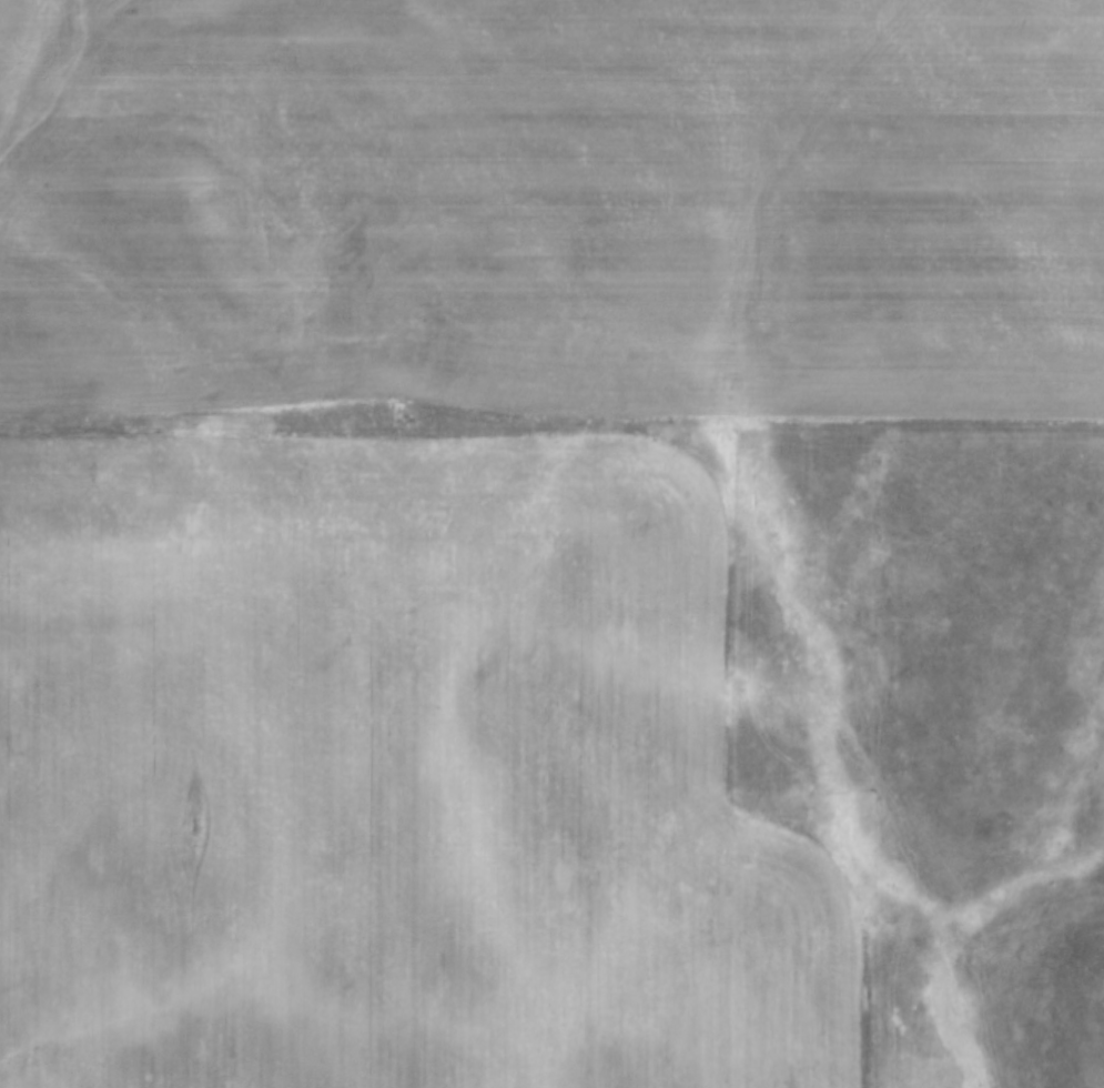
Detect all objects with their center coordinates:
road: (346, 430)

